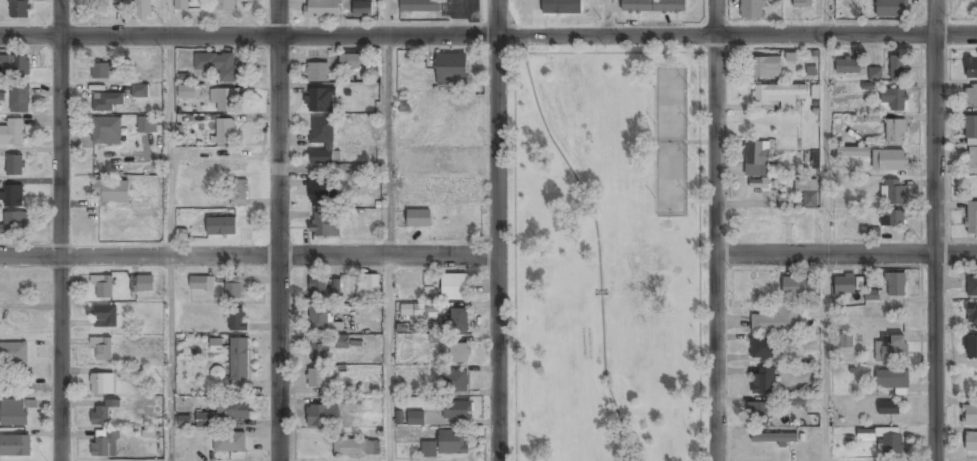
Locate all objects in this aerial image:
building: (801, 3)
building: (225, 4)
building: (181, 5)
building: (99, 6)
building: (419, 6)
building: (653, 6)
building: (362, 8)
building: (891, 8)
building: (19, 9)
building: (143, 9)
building: (321, 9)
building: (752, 9)
road: (606, 17)
road: (825, 17)
road: (169, 18)
road: (386, 18)
road: (488, 36)
building: (348, 62)
building: (217, 65)
building: (14, 67)
building: (766, 67)
building: (847, 67)
building: (451, 68)
building: (897, 68)
building: (971, 69)
building: (102, 72)
building: (317, 72)
building: (874, 74)
building: (140, 91)
building: (186, 91)
building: (778, 94)
building: (970, 96)
building: (894, 99)
building: (19, 100)
building: (226, 100)
building: (319, 100)
building: (106, 102)
building: (867, 118)
building: (147, 125)
building: (970, 128)
building: (895, 131)
building: (12, 132)
building: (106, 132)
building: (224, 132)
building: (323, 142)
building: (853, 152)
building: (756, 159)
building: (889, 161)
building: (971, 161)
building: (814, 162)
building: (14, 166)
road: (700, 170)
building: (758, 183)
building: (111, 191)
building: (238, 193)
building: (319, 193)
building: (808, 193)
building: (892, 193)
building: (13, 197)
building: (418, 219)
building: (892, 219)
building: (971, 219)
building: (15, 222)
building: (324, 225)
building: (220, 227)
road: (61, 230)
road: (278, 230)
road: (497, 230)
road: (716, 230)
road: (935, 230)
building: (869, 231)
road: (827, 247)
road: (389, 248)
road: (511, 248)
road: (170, 249)
road: (596, 251)
park: (607, 253)
road: (846, 255)
road: (248, 257)
building: (201, 283)
building: (368, 283)
building: (858, 283)
building: (144, 284)
building: (894, 285)
building: (845, 286)
building: (103, 287)
building: (233, 287)
building: (454, 287)
building: (971, 287)
building: (799, 289)
building: (324, 290)
building: (871, 295)
building: (406, 310)
building: (432, 310)
building: (972, 315)
building: (105, 317)
building: (237, 319)
building: (322, 320)
building: (459, 321)
building: (776, 321)
building: (845, 340)
building: (342, 341)
building: (215, 344)
building: (970, 347)
building: (763, 348)
building: (102, 349)
building: (890, 349)
building: (13, 353)
building: (317, 353)
building: (457, 354)
building: (239, 360)
building: (315, 379)
building: (892, 379)
building: (763, 381)
building: (455, 382)
building: (101, 384)
building: (8, 389)
building: (796, 402)
building: (888, 408)
building: (233, 410)
building: (456, 411)
building: (757, 413)
building: (13, 414)
building: (102, 414)
building: (969, 415)
building: (321, 416)
building: (399, 417)
building: (205, 419)
building: (416, 419)
building: (183, 421)
building: (774, 438)
building: (883, 438)
building: (229, 443)
building: (971, 443)
building: (105, 444)
building: (447, 444)
building: (15, 446)
building: (356, 448)

